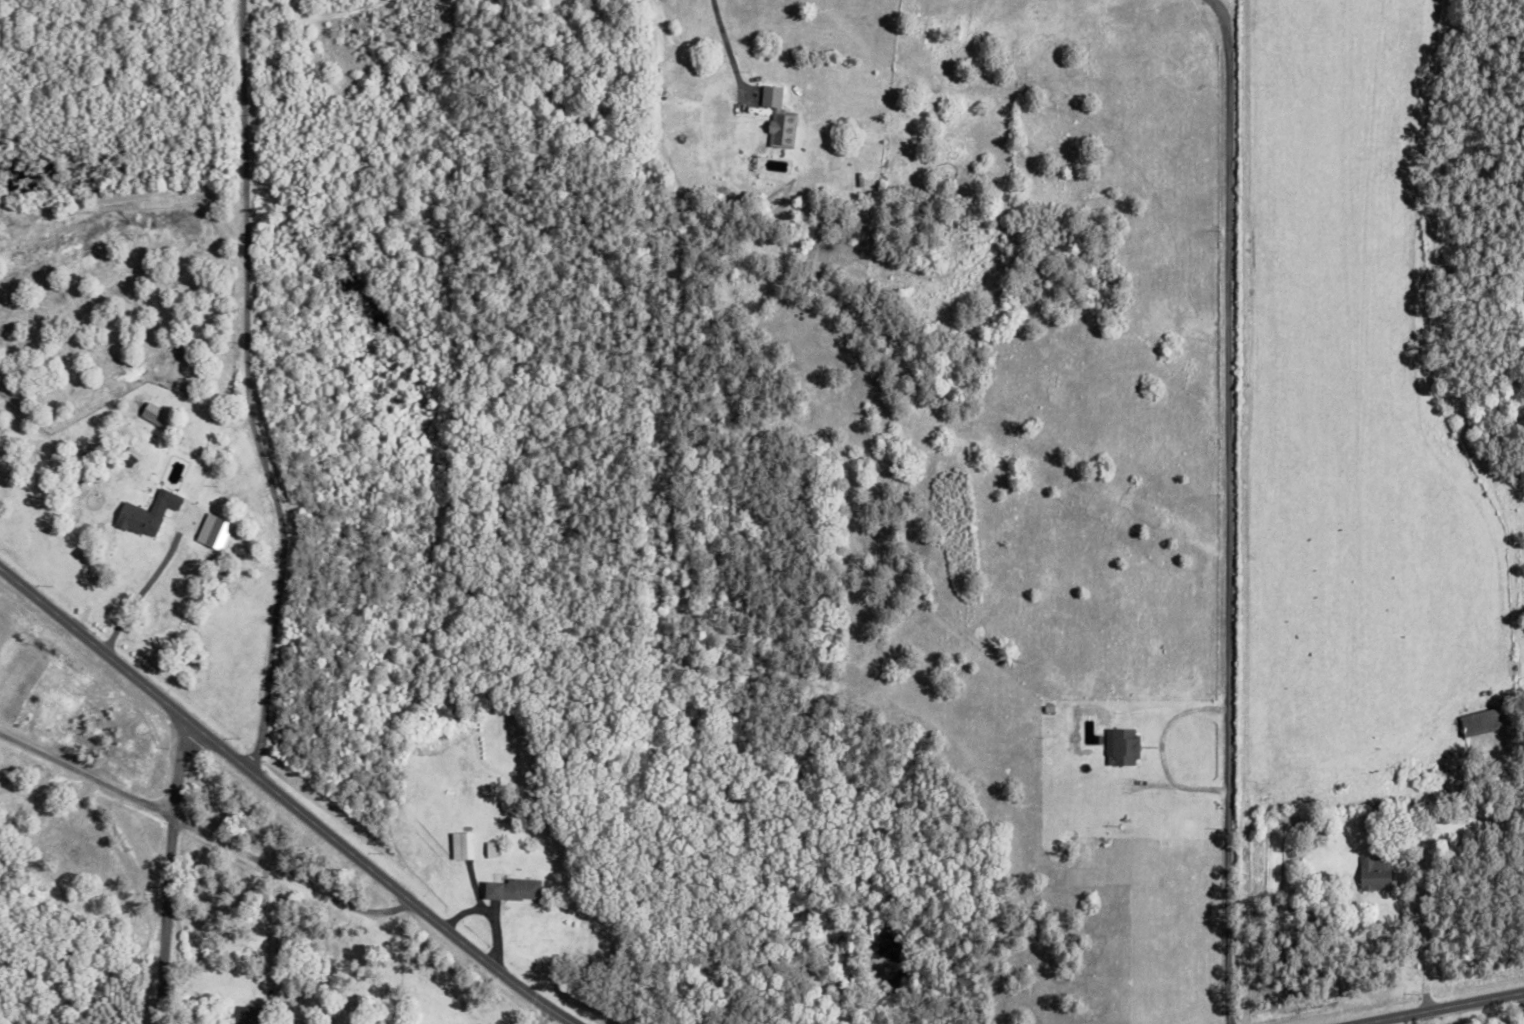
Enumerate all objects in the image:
road: (721, 44)
building: (780, 118)
road: (241, 389)
building: (157, 416)
road: (1221, 510)
building: (148, 514)
building: (189, 520)
building: (214, 532)
road: (135, 584)
building: (1486, 720)
road: (1153, 745)
building: (1124, 747)
road: (82, 780)
road: (278, 801)
building: (462, 845)
building: (1377, 872)
road: (160, 875)
road: (282, 875)
building: (514, 889)
road: (261, 918)
road: (1425, 939)
road: (1446, 1011)
road: (532, 1015)

